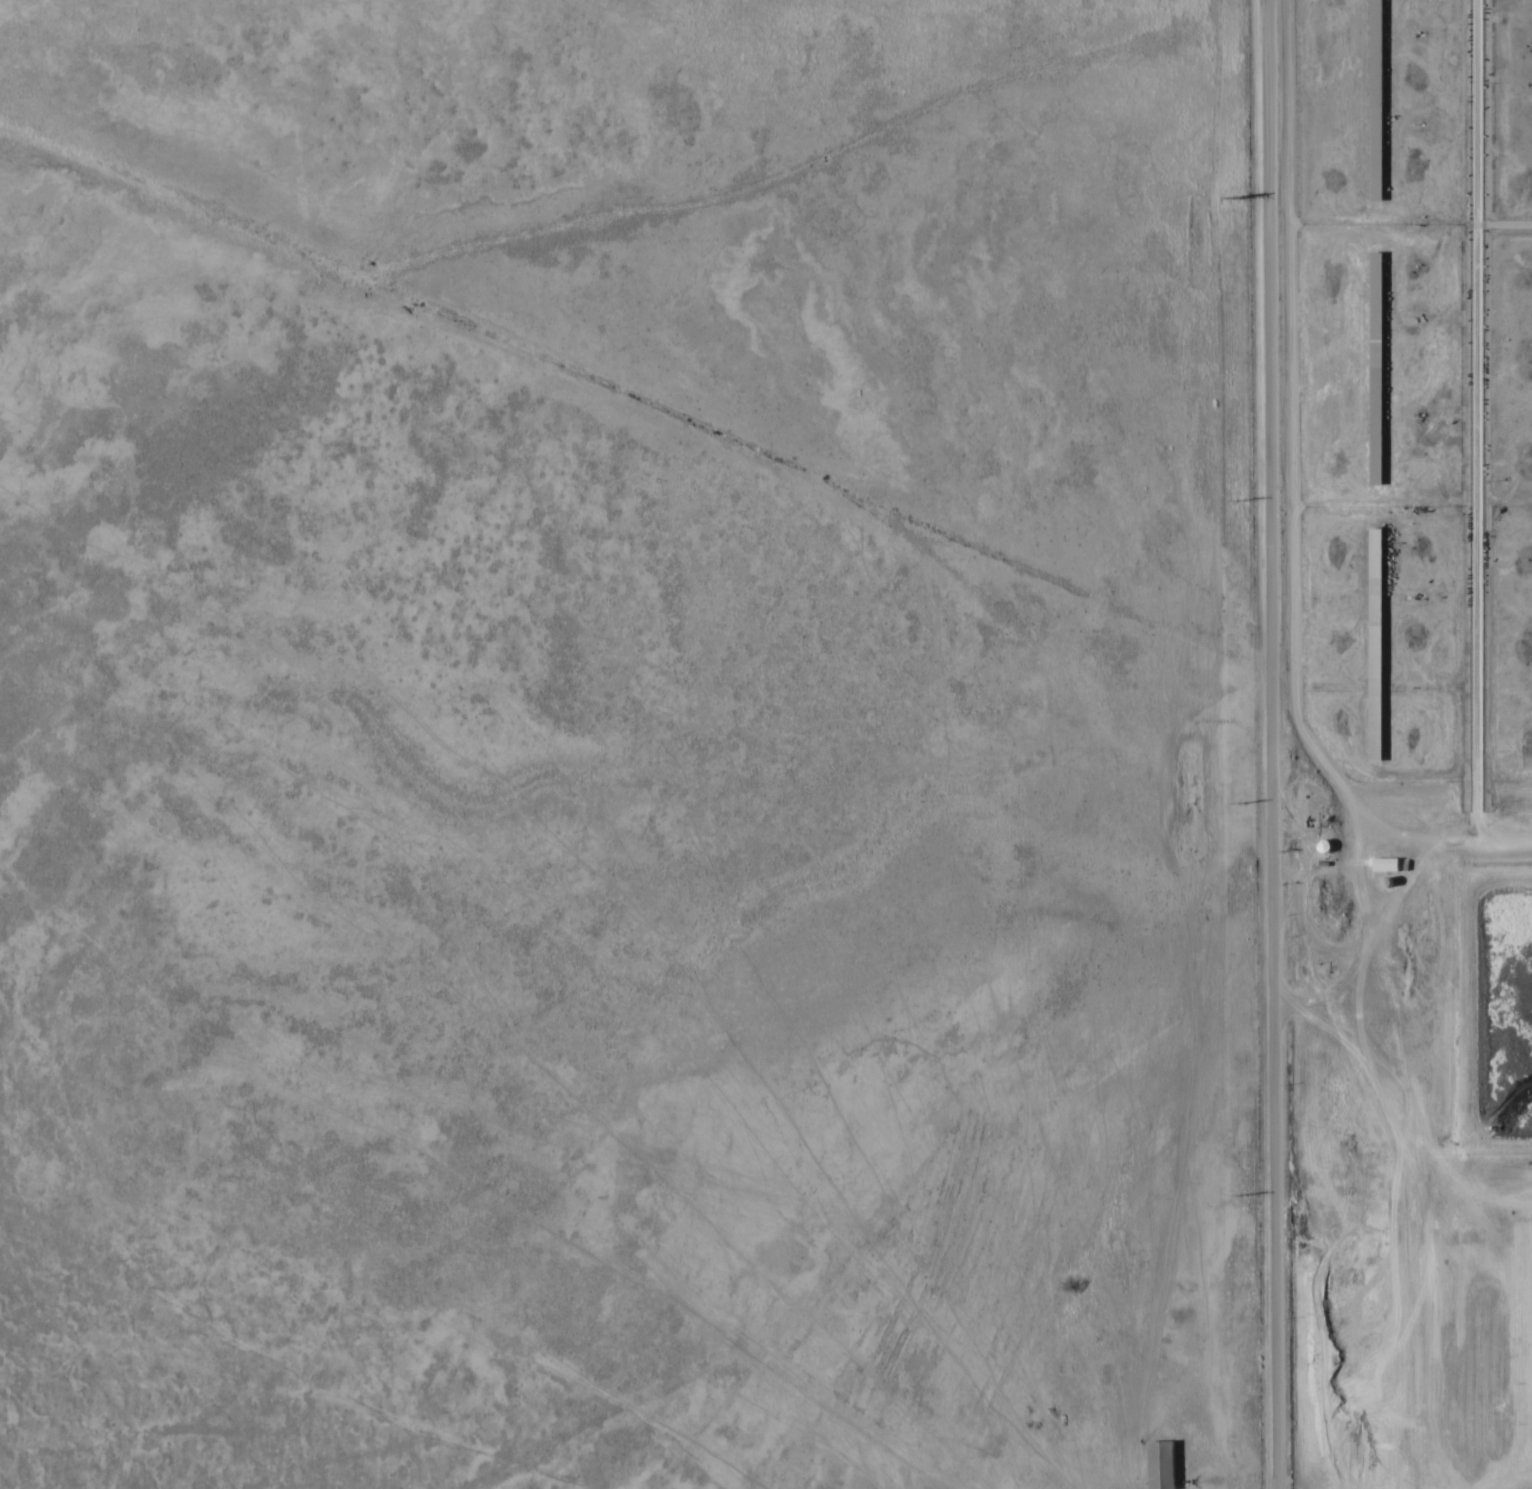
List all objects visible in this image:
building: (1374, 99)
power tower: (1236, 189)
building: (1374, 366)
power tower: (1239, 498)
building: (1374, 643)
road: (1269, 744)
building: (1414, 796)
power tower: (1240, 801)
building: (1384, 863)
power tower: (1241, 1193)
building: (1159, 1463)

